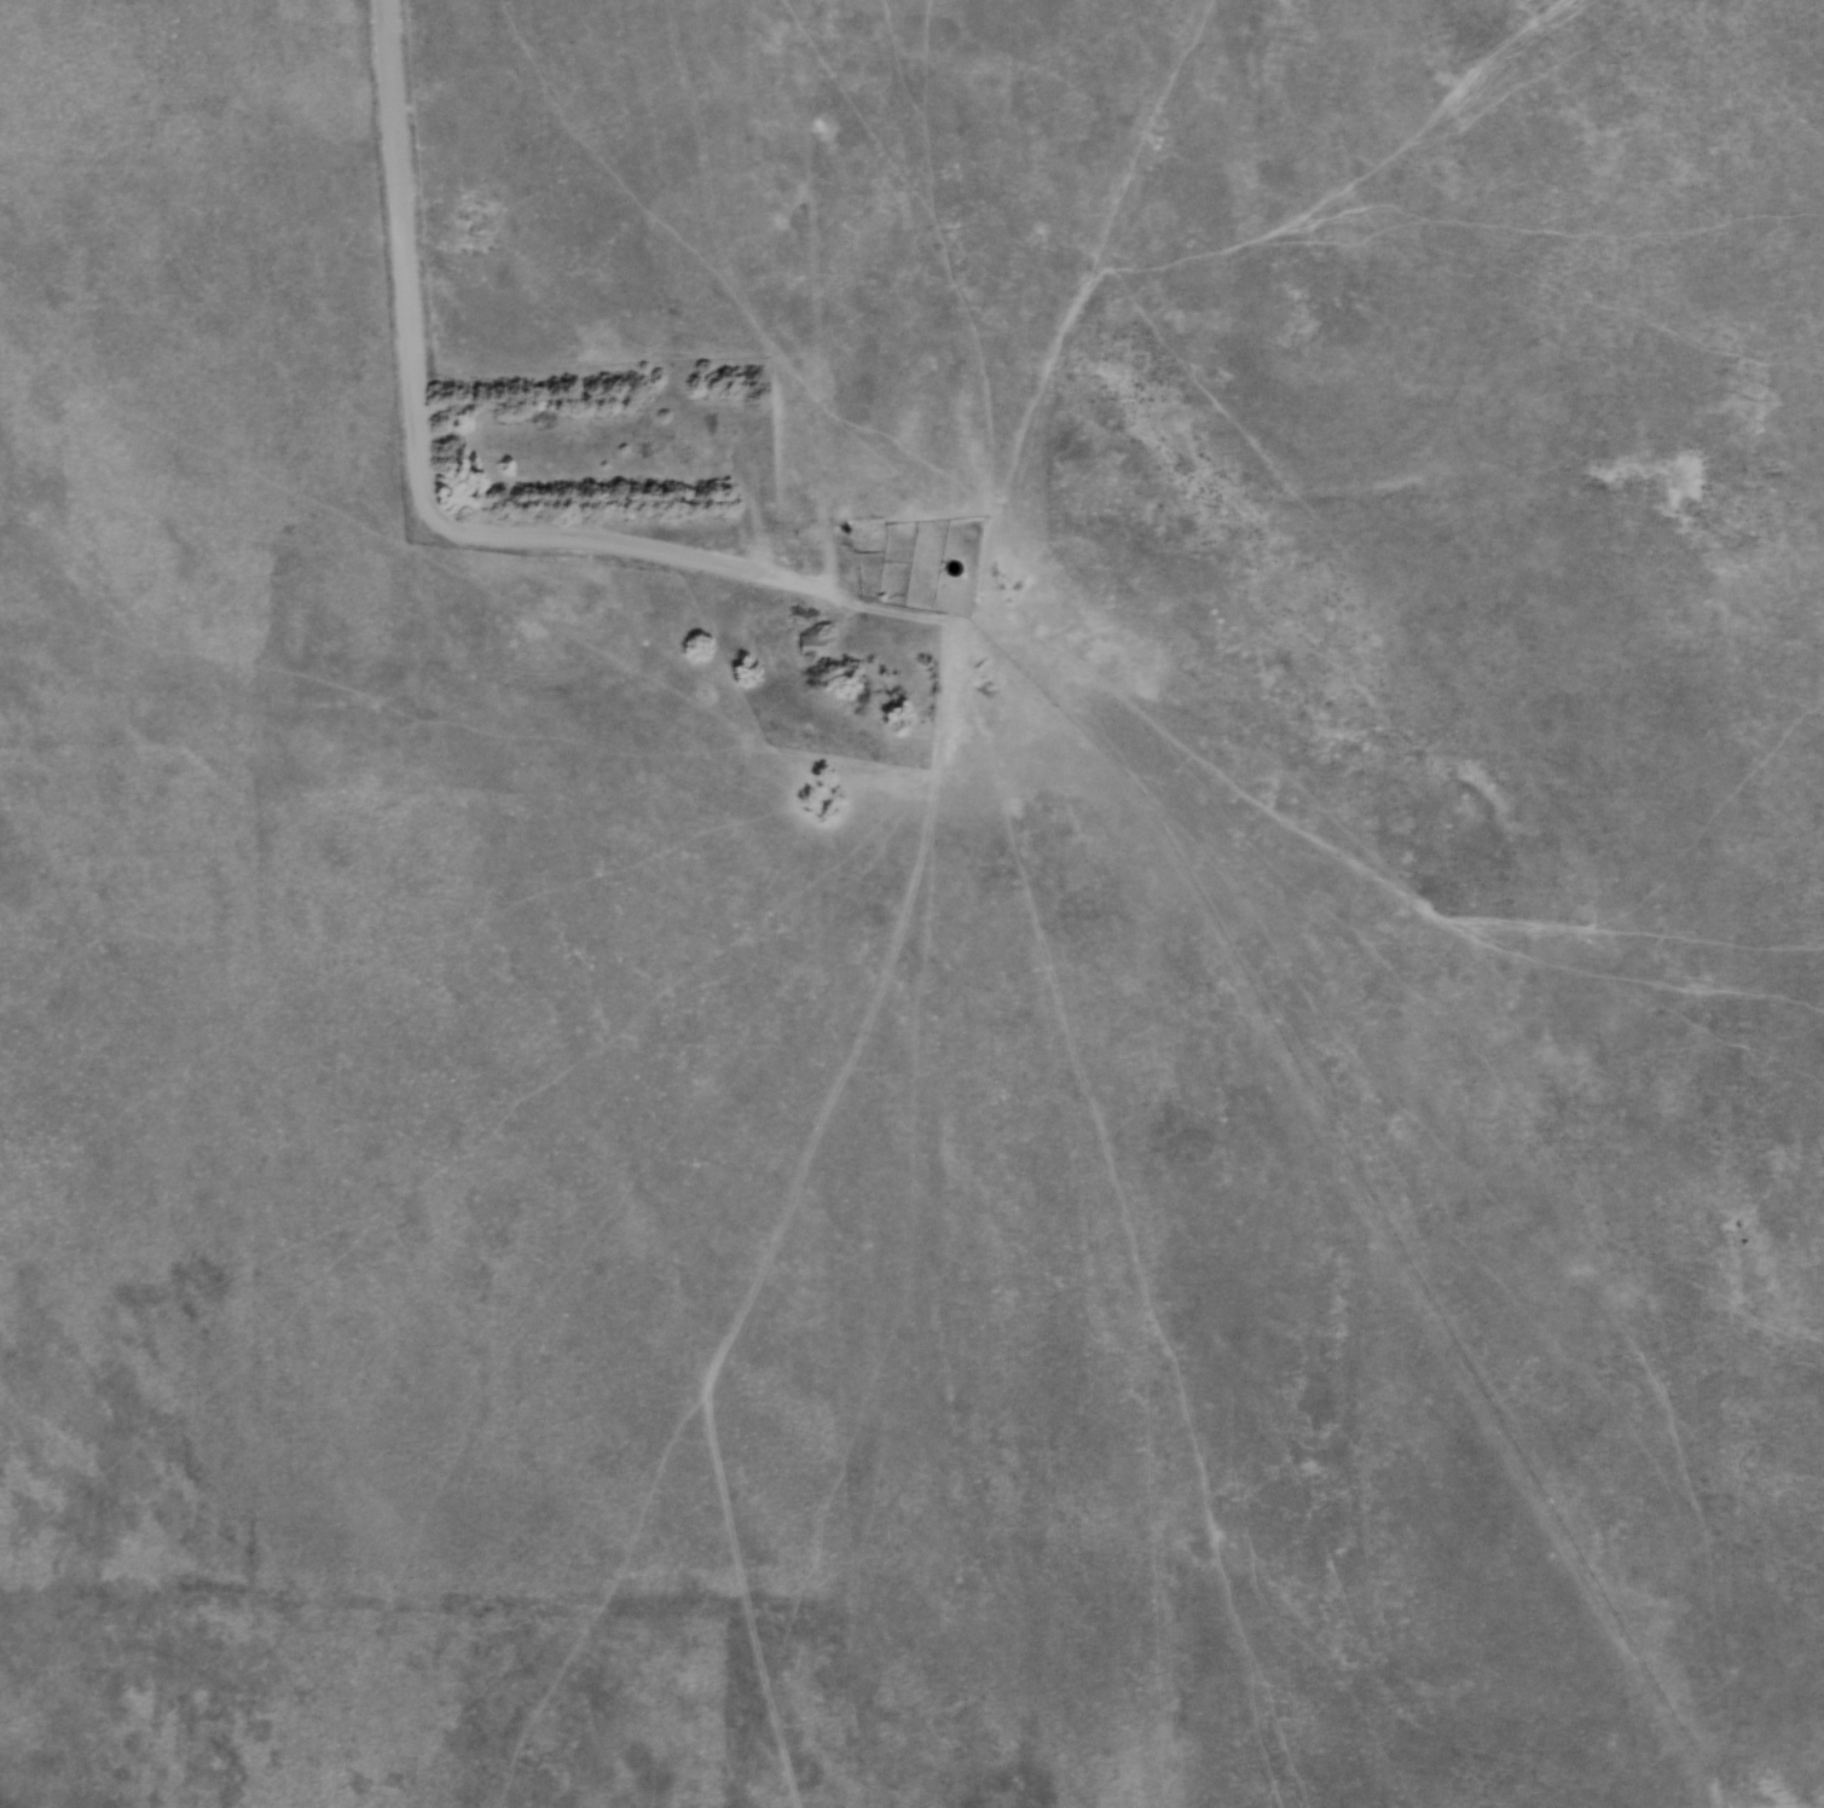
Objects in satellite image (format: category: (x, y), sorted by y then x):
road: (404, 256)
building: (810, 645)

